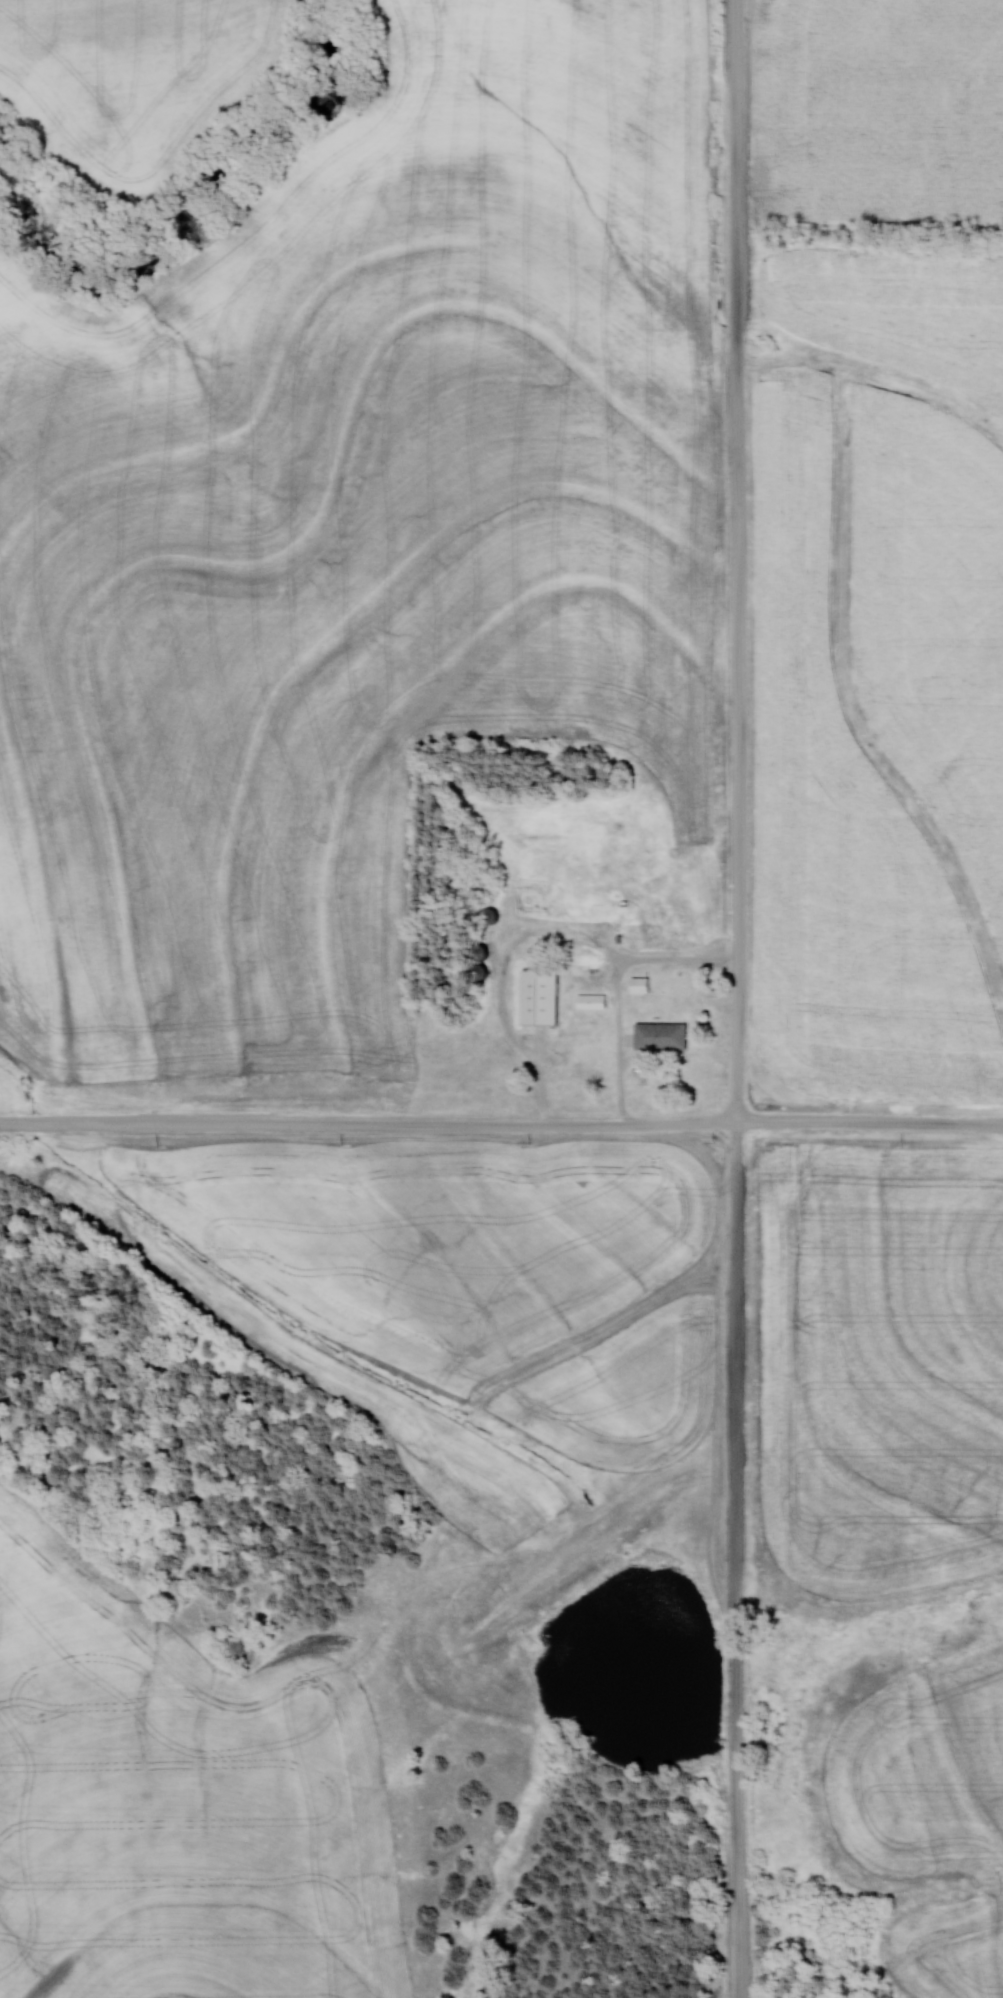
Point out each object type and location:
building: (675, 918)
building: (637, 929)
building: (590, 960)
building: (643, 984)
road: (621, 991)
building: (545, 998)
road: (741, 999)
building: (594, 1000)
building: (665, 1036)
road: (501, 1128)

